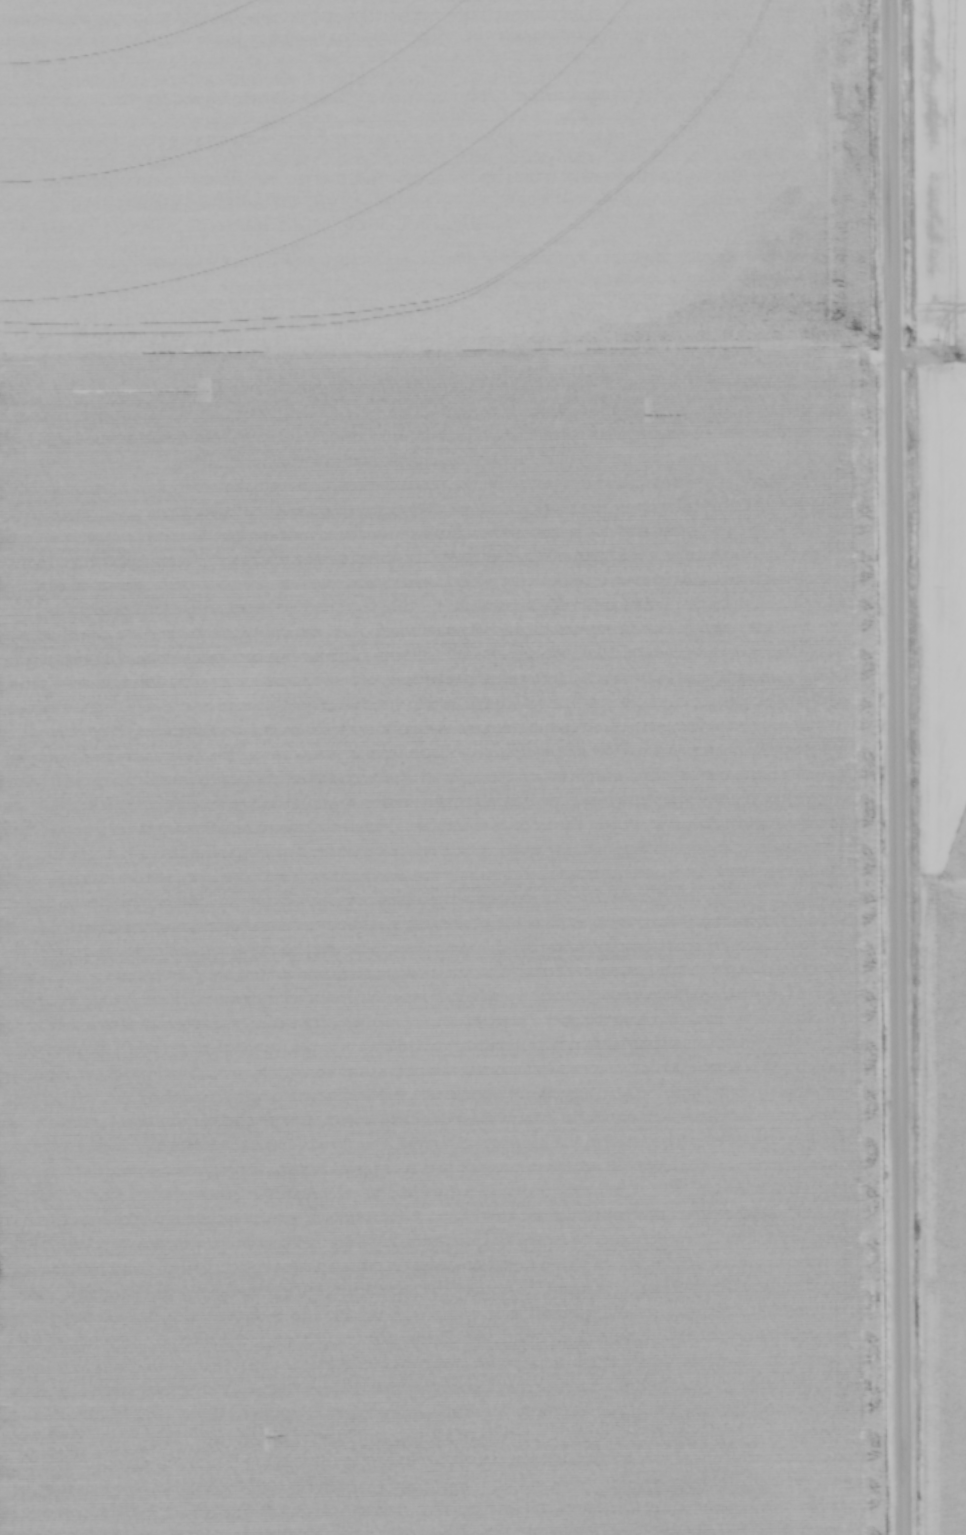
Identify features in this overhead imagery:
road: (929, 353)
road: (896, 767)
crop: (432, 772)
crop: (943, 801)

